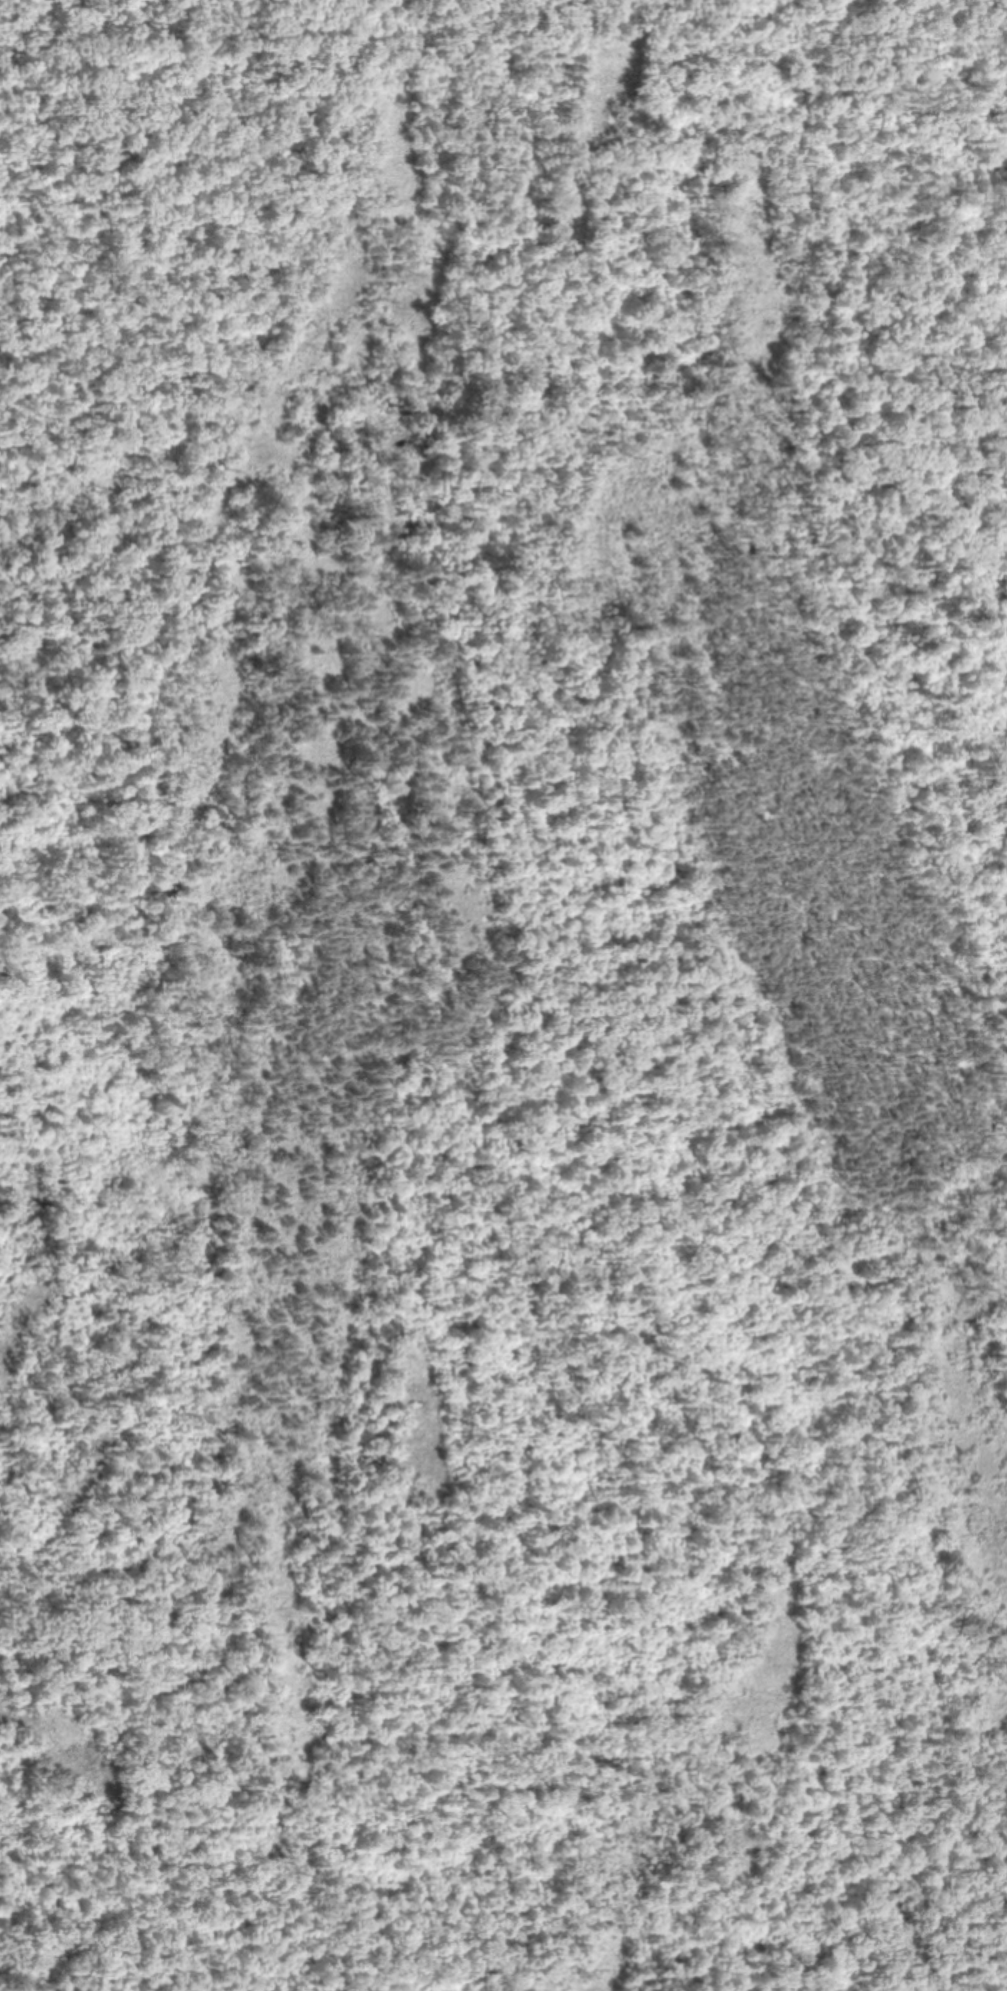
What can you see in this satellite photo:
park: (503, 995)

